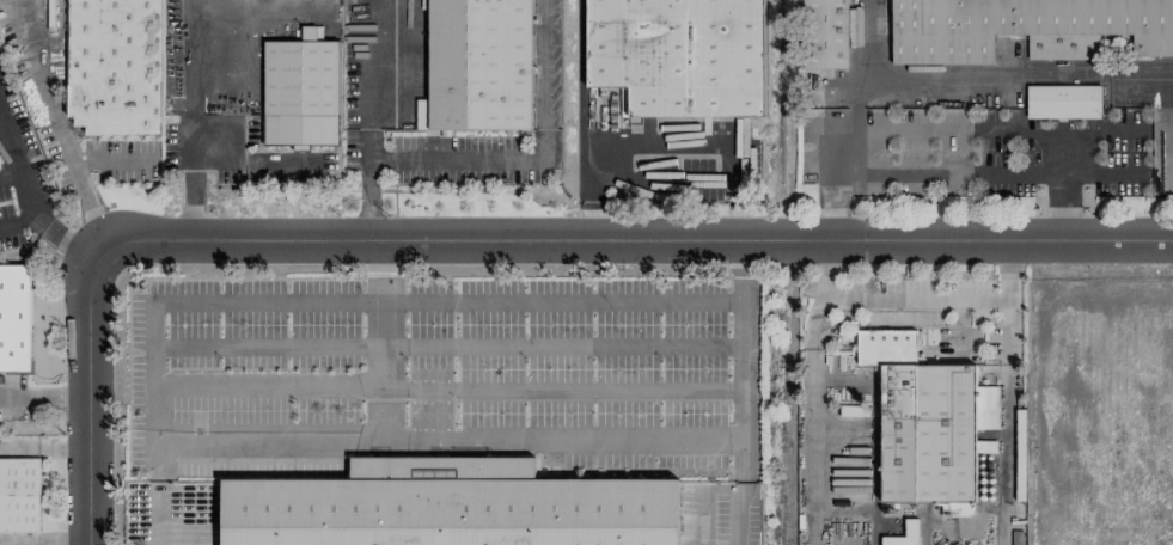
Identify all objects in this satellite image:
building: (1024, 27)
building: (825, 35)
road: (875, 37)
building: (678, 55)
road: (32, 63)
building: (478, 66)
building: (115, 67)
road: (1024, 75)
building: (301, 92)
road: (857, 99)
building: (1062, 102)
road: (188, 121)
road: (369, 121)
road: (980, 133)
road: (1102, 133)
road: (662, 147)
road: (848, 154)
road: (8, 173)
road: (949, 176)
road: (1102, 177)
road: (80, 183)
road: (28, 195)
road: (19, 223)
road: (624, 244)
road: (562, 299)
road: (921, 300)
building: (14, 318)
road: (77, 393)
road: (38, 396)
road: (813, 415)
building: (922, 423)
road: (1008, 423)
road: (562, 434)
road: (38, 445)
building: (19, 496)
building: (448, 507)
road: (745, 515)
building: (910, 528)
building: (1016, 538)

